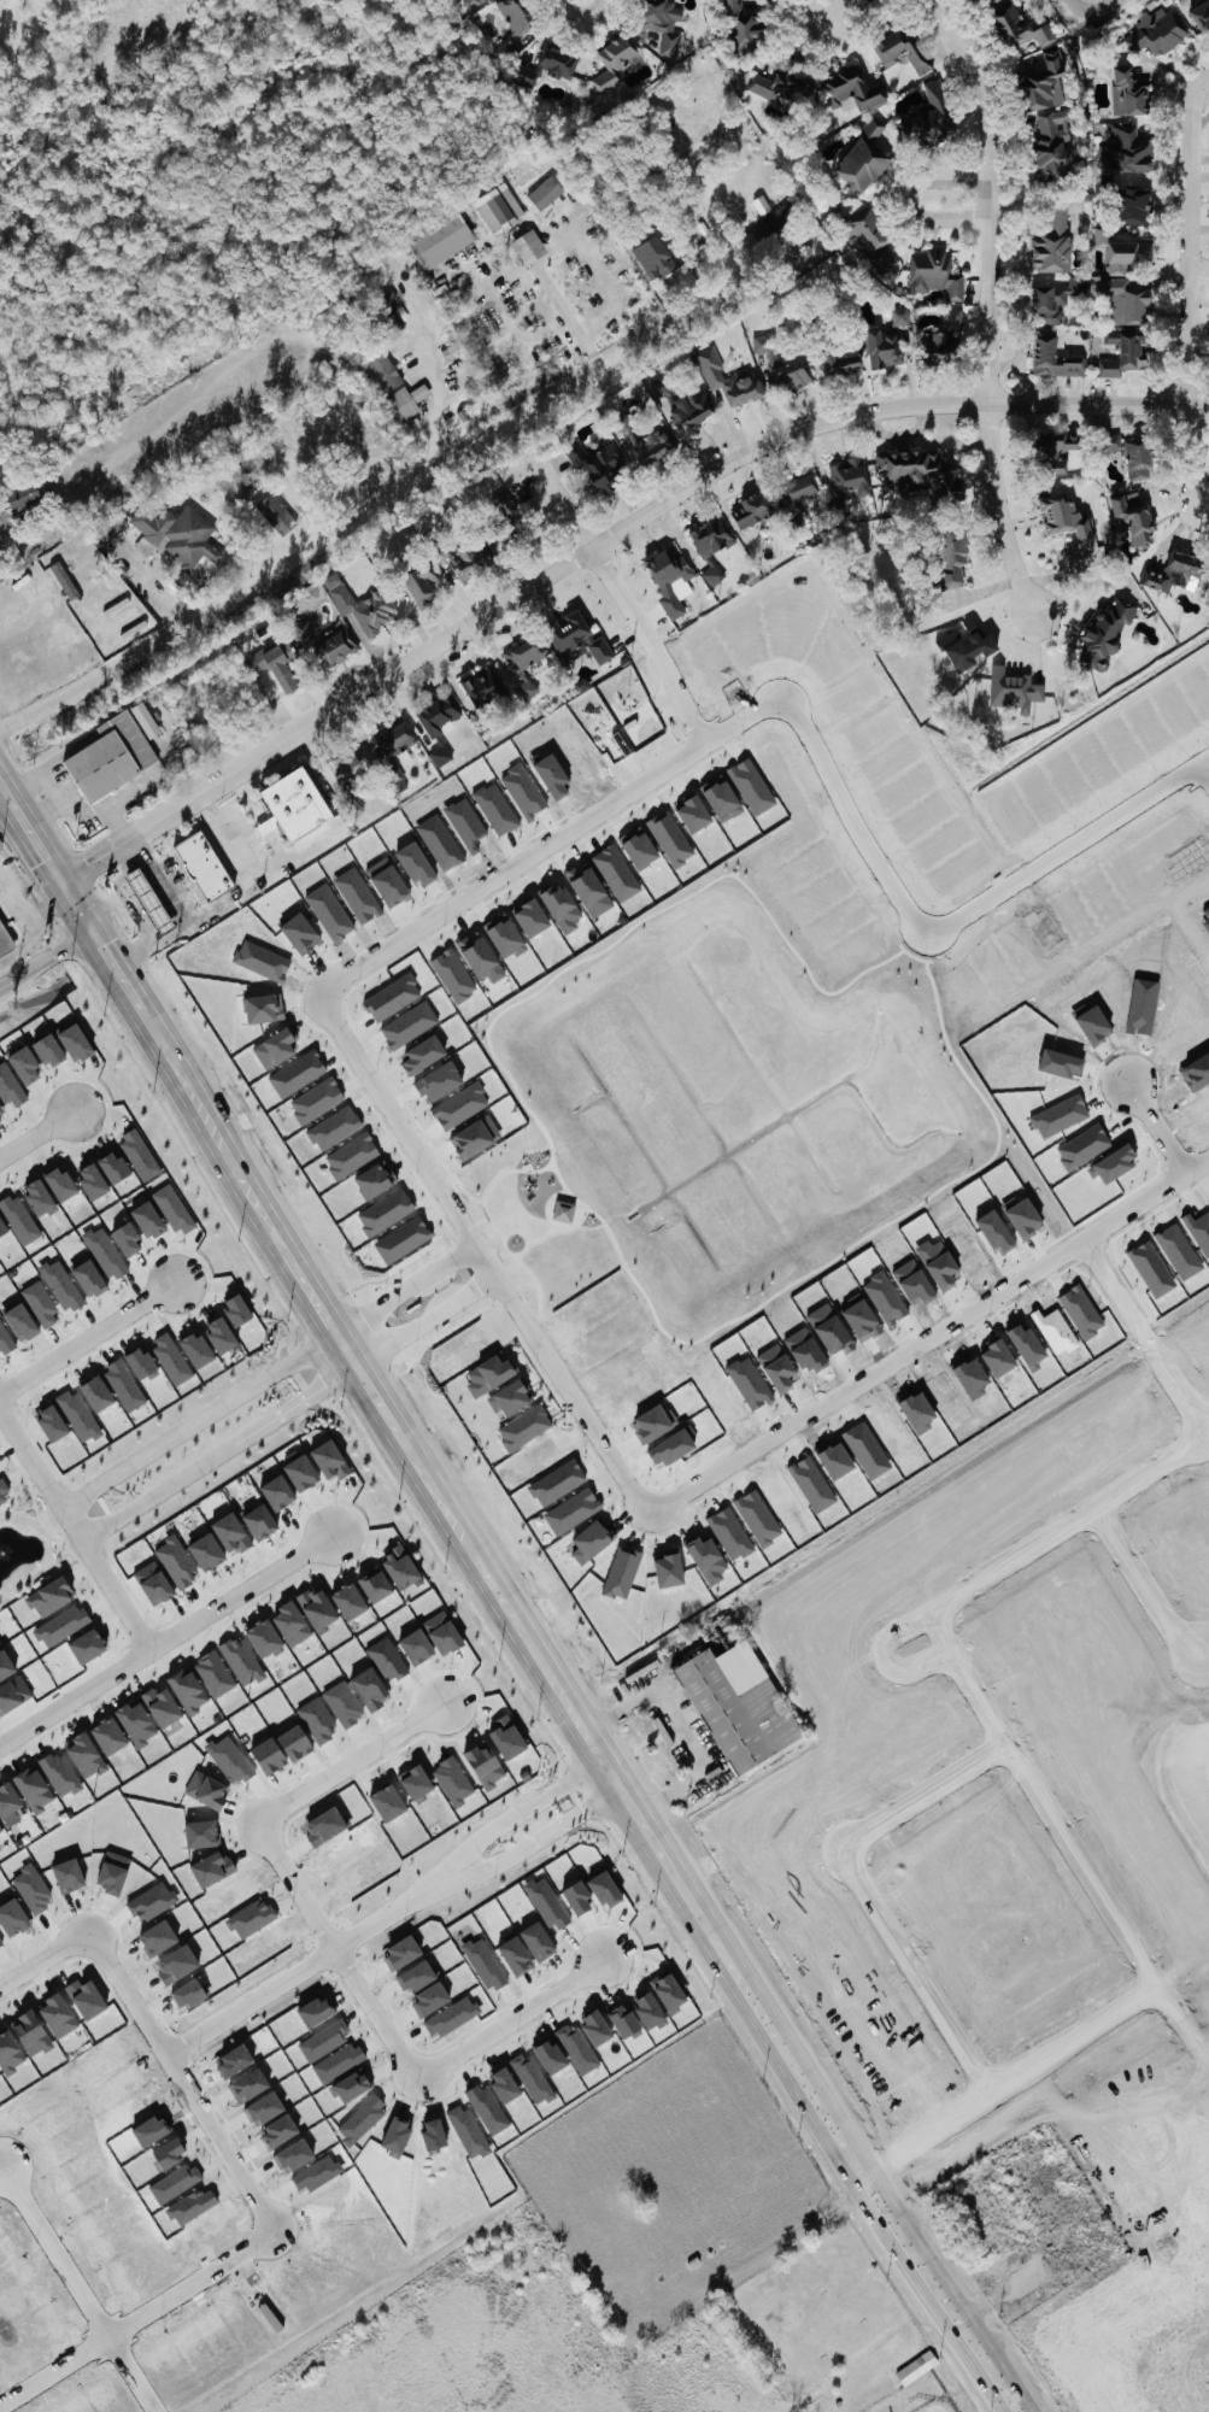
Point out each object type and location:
building: (473, 1)
road: (838, 10)
building: (1201, 12)
road: (581, 13)
building: (513, 16)
building: (663, 23)
building: (1020, 25)
building: (1157, 31)
building: (898, 47)
building: (558, 60)
building: (612, 63)
building: (526, 74)
building: (779, 83)
road: (1201, 83)
building: (851, 88)
building: (1131, 89)
building: (1047, 113)
building: (928, 115)
building: (1127, 148)
building: (863, 158)
building: (545, 192)
road: (906, 198)
building: (557, 203)
building: (1133, 204)
building: (499, 206)
building: (781, 216)
building: (867, 236)
building: (442, 240)
building: (1052, 241)
building: (529, 245)
building: (655, 257)
building: (935, 272)
road: (1190, 298)
building: (1055, 299)
building: (1125, 300)
road: (990, 303)
building: (900, 315)
road: (567, 317)
building: (953, 317)
building: (763, 342)
building: (939, 345)
building: (881, 347)
building: (450, 352)
building: (1121, 353)
building: (1054, 357)
building: (841, 359)
building: (385, 370)
building: (792, 374)
building: (715, 375)
road: (428, 378)
building: (407, 399)
building: (691, 405)
building: (622, 423)
road: (143, 430)
building: (655, 444)
building: (1057, 451)
building: (598, 465)
building: (911, 468)
building: (850, 475)
building: (802, 487)
building: (23, 494)
building: (506, 504)
building: (751, 506)
building: (275, 511)
road: (362, 513)
road: (51, 516)
building: (1134, 516)
building: (1063, 517)
building: (177, 534)
building: (711, 535)
road: (599, 540)
road: (592, 546)
building: (471, 556)
building: (951, 559)
building: (1174, 573)
building: (670, 576)
building: (64, 577)
building: (417, 582)
road: (155, 592)
road: (47, 600)
building: (362, 604)
building: (569, 632)
building: (1104, 634)
building: (325, 639)
building: (967, 645)
building: (600, 649)
building: (278, 662)
building: (523, 662)
building: (485, 683)
building: (1014, 688)
road: (679, 691)
building: (438, 711)
building: (145, 717)
building: (393, 751)
building: (441, 753)
building: (110, 756)
building: (348, 762)
road: (1202, 771)
building: (752, 785)
building: (723, 794)
road: (4, 798)
building: (297, 808)
building: (692, 811)
road: (852, 818)
building: (670, 837)
road: (550, 841)
road: (1068, 843)
road: (33, 844)
building: (638, 845)
building: (203, 864)
building: (616, 870)
traffic signals: (58, 885)
building: (589, 888)
building: (148, 899)
building: (561, 906)
road: (74, 911)
road: (184, 916)
road: (25, 917)
building: (503, 933)
traffic signals: (90, 938)
building: (5, 941)
building: (481, 957)
road: (45, 966)
building: (453, 973)
road: (115, 976)
building: (263, 1005)
building: (409, 1023)
building: (74, 1040)
building: (274, 1046)
building: (48, 1049)
building: (422, 1054)
building: (24, 1064)
building: (8, 1084)
building: (316, 1098)
building: (460, 1105)
building: (1, 1111)
building: (334, 1126)
road: (1158, 1129)
road: (36, 1135)
building: (140, 1154)
building: (352, 1154)
building: (112, 1166)
building: (375, 1178)
building: (92, 1179)
building: (59, 1181)
building: (37, 1196)
building: (174, 1208)
building: (385, 1210)
building: (563, 1211)
building: (19, 1217)
building: (147, 1217)
park: (533, 1220)
building: (1, 1226)
building: (127, 1238)
building: (105, 1251)
road: (482, 1251)
building: (88, 1277)
building: (61, 1284)
road: (407, 1287)
building: (40, 1302)
building: (235, 1308)
road: (426, 1319)
building: (19, 1321)
building: (219, 1333)
road: (931, 1334)
road: (1143, 1334)
building: (5, 1338)
road: (89, 1343)
building: (195, 1349)
building: (171, 1357)
building: (140, 1362)
building: (488, 1373)
building: (124, 1383)
building: (95, 1391)
building: (509, 1397)
building: (78, 1414)
road: (198, 1420)
building: (51, 1421)
building: (524, 1426)
building: (670, 1446)
road: (218, 1453)
building: (329, 1459)
road: (36, 1466)
building: (300, 1471)
building: (4, 1490)
building: (277, 1491)
building: (571, 1509)
building: (259, 1520)
road: (1070, 1525)
building: (230, 1532)
building: (589, 1539)
building: (206, 1550)
building: (706, 1557)
building: (176, 1560)
building: (399, 1566)
building: (668, 1568)
building: (620, 1571)
building: (153, 1581)
building: (374, 1584)
road: (112, 1585)
road: (1146, 1586)
building: (49, 1595)
building: (348, 1600)
building: (317, 1608)
building: (290, 1622)
building: (61, 1624)
building: (441, 1631)
building: (810, 1631)
road: (165, 1638)
building: (264, 1638)
building: (415, 1645)
road: (693, 1655)
building: (386, 1657)
road: (886, 1657)
building: (242, 1660)
building: (213, 1672)
building: (370, 1686)
building: (188, 1689)
building: (160, 1704)
building: (739, 1706)
road: (577, 1713)
building: (136, 1723)
building: (107, 1735)
building: (84, 1754)
road: (710, 1761)
road: (360, 1762)
building: (60, 1773)
building: (453, 1779)
building: (416, 1782)
building: (33, 1789)
road: (920, 1796)
building: (7, 1798)
road: (1040, 1800)
building: (0, 1830)
building: (250, 1917)
road: (397, 1917)
road: (350, 1953)
road: (41, 1959)
road: (915, 1973)
road: (524, 2020)
road: (1180, 2026)
road: (186, 2077)
road: (1009, 2077)
road: (776, 2246)
road: (54, 2254)
road: (137, 2319)
road: (1195, 2343)
building: (917, 2366)
road: (1184, 2383)

